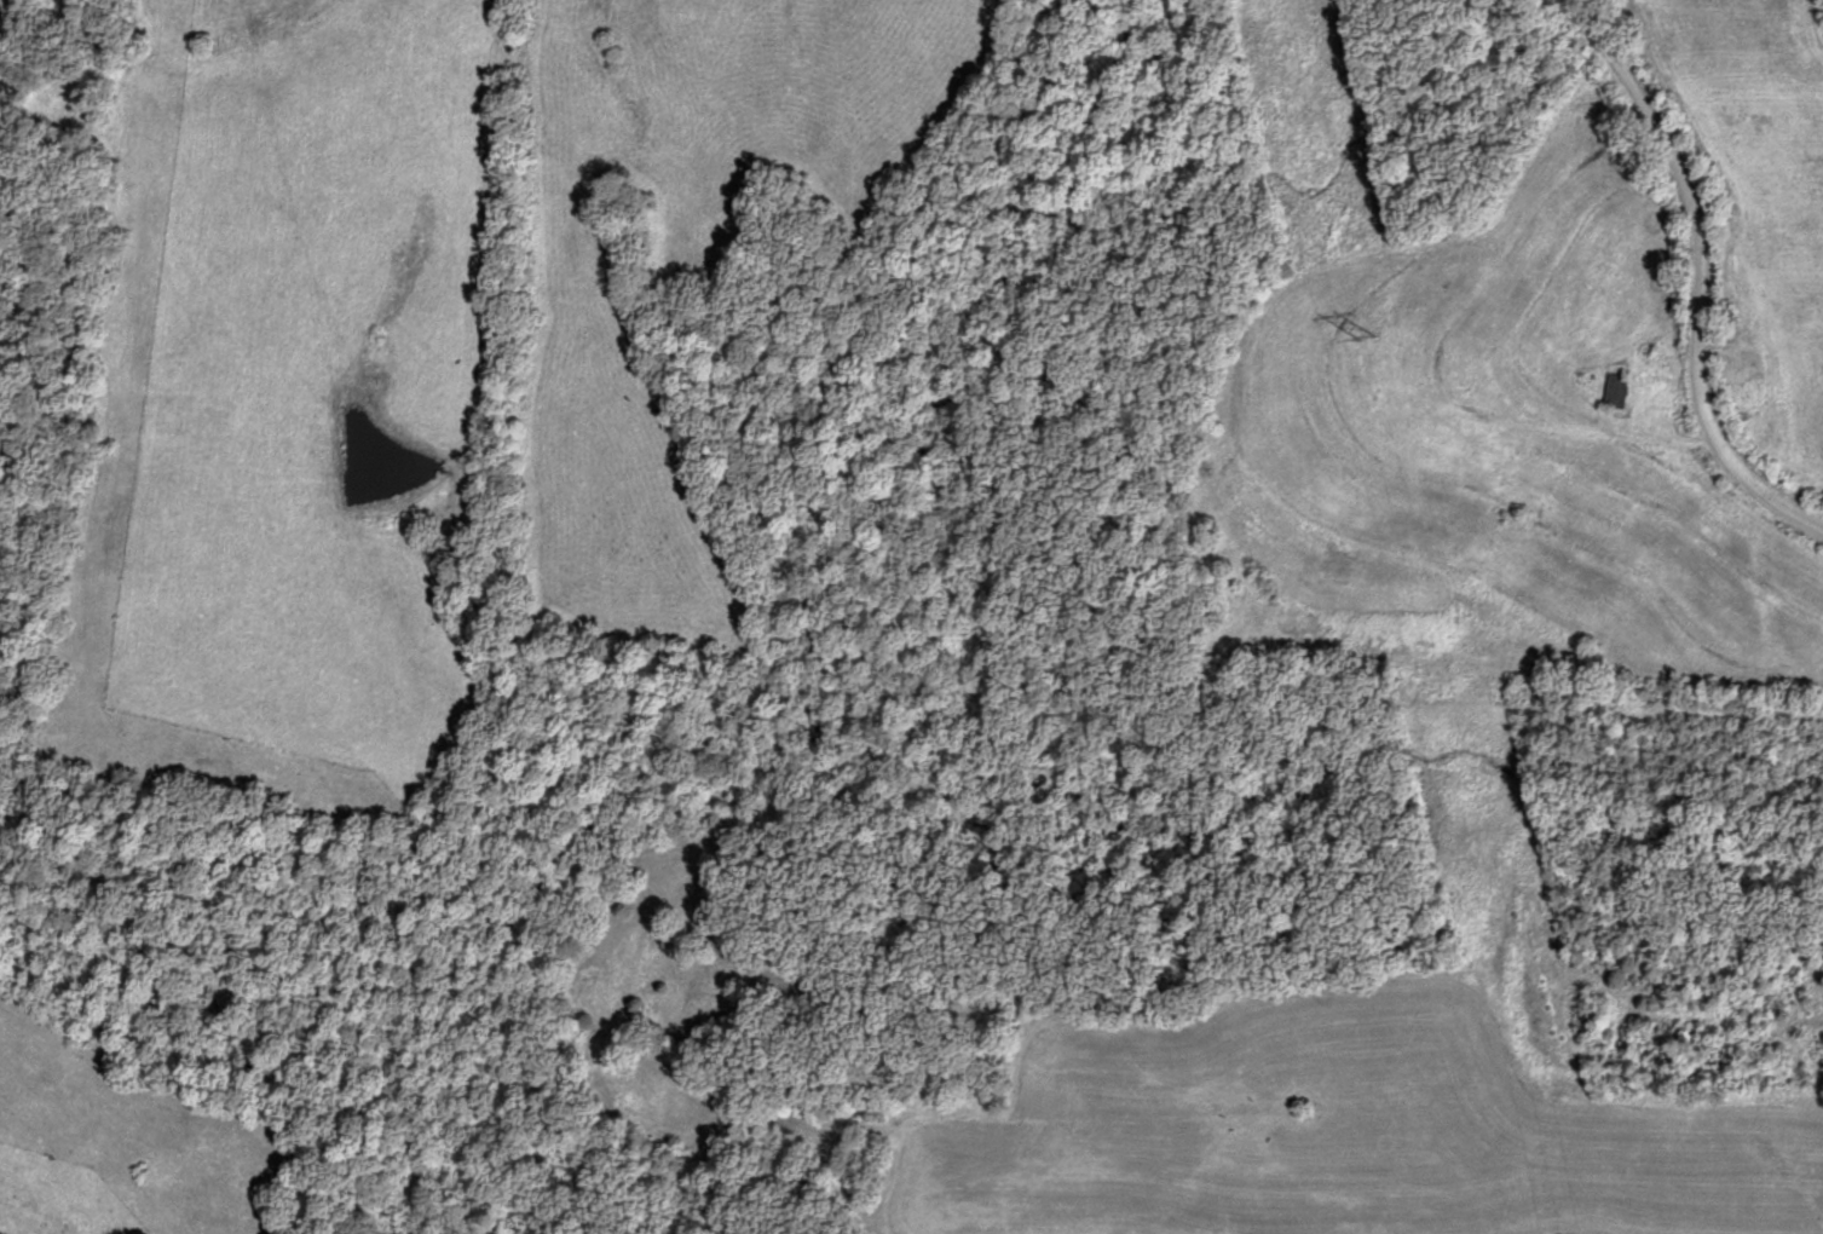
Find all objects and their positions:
road: (1700, 281)
power tower: (1366, 338)
building: (1619, 390)

